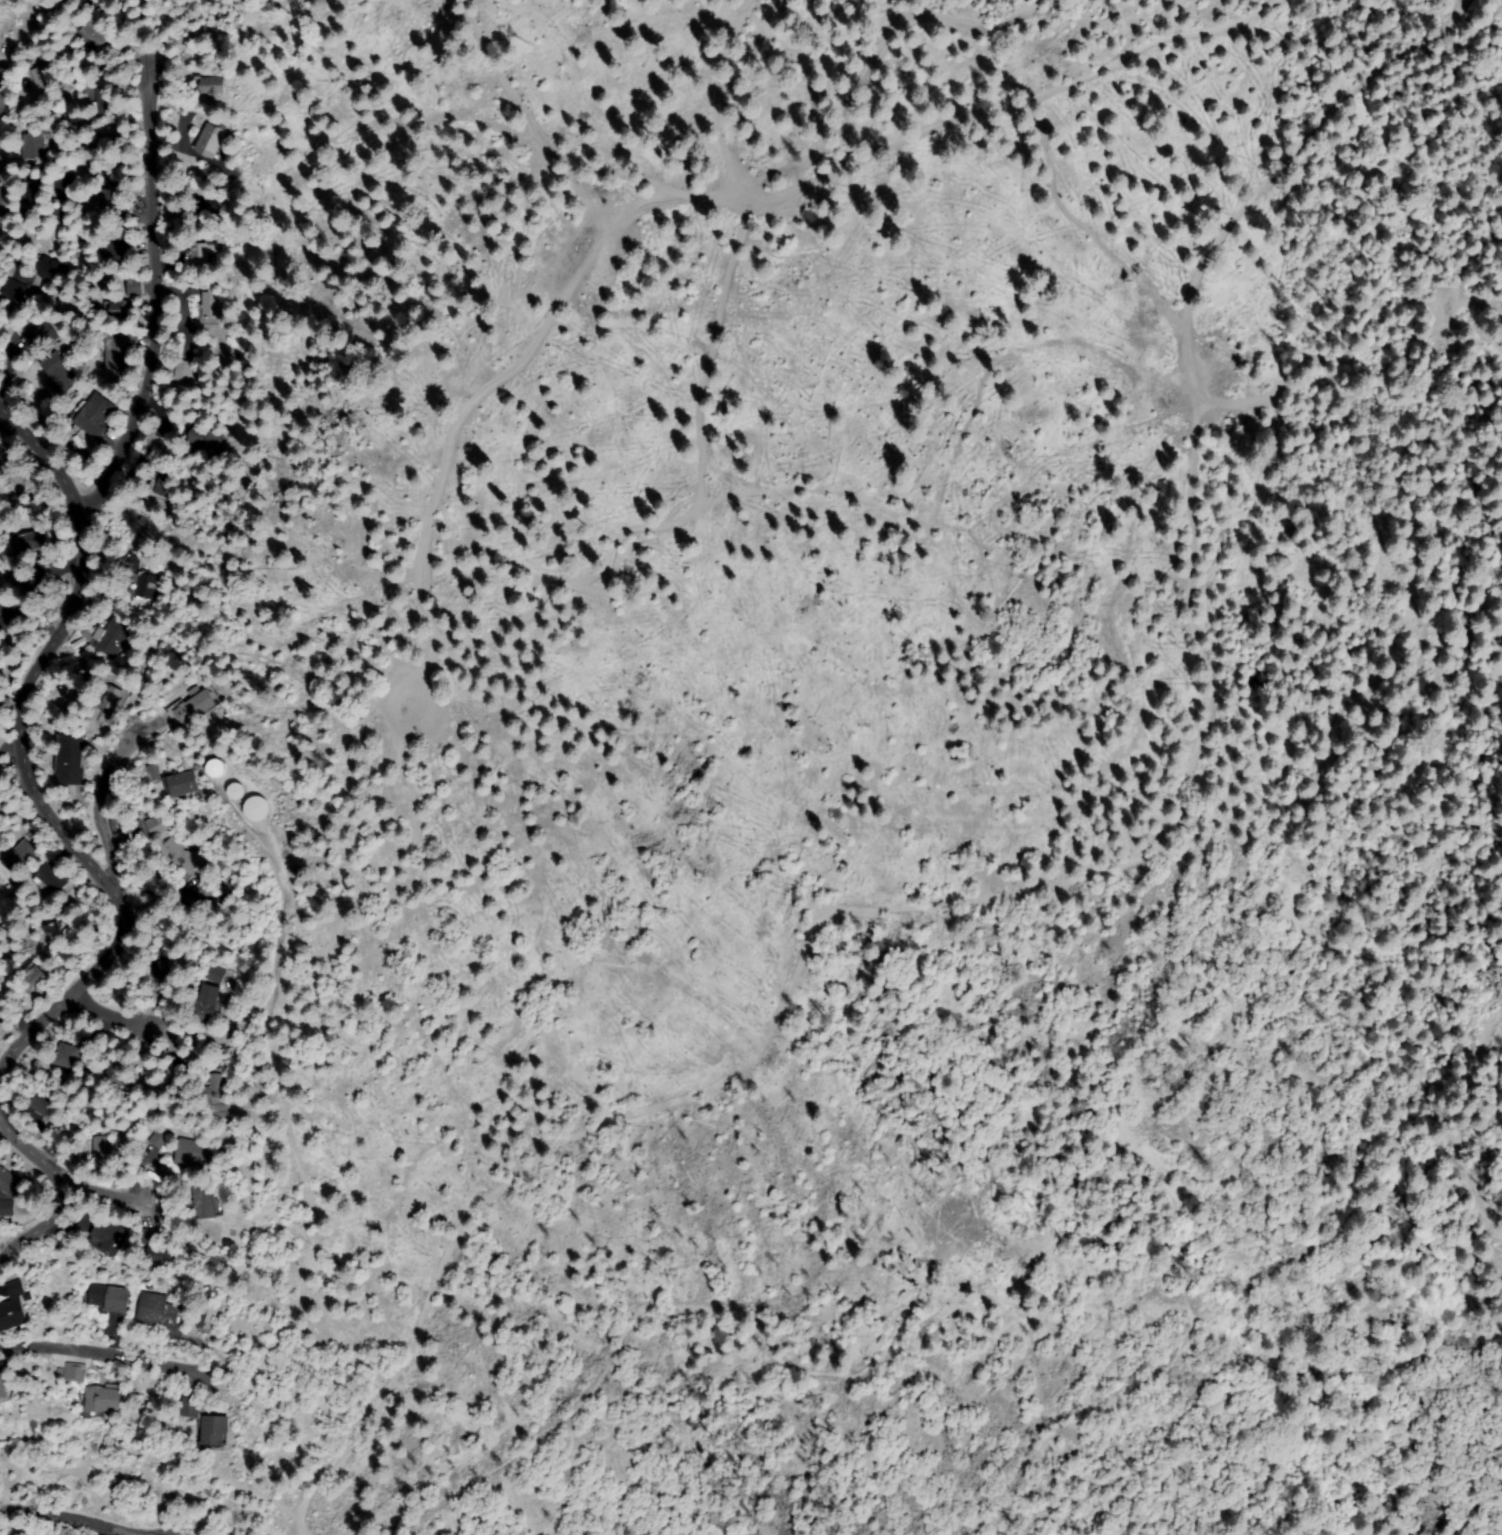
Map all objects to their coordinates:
building: (93, 34)
road: (887, 40)
building: (45, 79)
building: (208, 86)
building: (103, 101)
building: (109, 133)
building: (213, 140)
building: (31, 146)
road: (846, 171)
building: (61, 182)
building: (34, 189)
building: (113, 195)
building: (201, 207)
building: (114, 252)
building: (197, 255)
building: (47, 268)
building: (129, 285)
road: (1187, 303)
building: (207, 304)
road: (152, 308)
building: (120, 309)
building: (37, 339)
building: (117, 347)
building: (59, 373)
building: (180, 373)
building: (90, 415)
building: (200, 438)
building: (2, 455)
building: (161, 483)
building: (26, 542)
building: (143, 589)
building: (11, 614)
building: (108, 635)
road: (481, 635)
building: (111, 697)
building: (186, 711)
road: (20, 755)
building: (72, 758)
building: (215, 767)
storage tank: (218, 768)
building: (151, 772)
road: (106, 783)
building: (183, 785)
building: (235, 790)
storage tank: (237, 791)
building: (1, 804)
building: (255, 807)
storage tank: (257, 809)
building: (160, 825)
building: (127, 836)
building: (22, 855)
building: (179, 856)
building: (51, 879)
building: (203, 887)
building: (167, 969)
building: (215, 973)
building: (31, 982)
road: (114, 1005)
building: (207, 1007)
building: (0, 1021)
building: (72, 1056)
building: (116, 1071)
building: (174, 1075)
road: (1493, 1075)
building: (217, 1098)
building: (43, 1101)
building: (150, 1145)
building: (112, 1147)
building: (194, 1152)
building: (9, 1182)
road: (52, 1184)
road: (85, 1189)
building: (204, 1201)
building: (5, 1206)
building: (109, 1236)
building: (150, 1237)
road: (1419, 1241)
building: (163, 1258)
building: (109, 1297)
building: (13, 1310)
building: (157, 1310)
building: (209, 1317)
road: (102, 1340)
building: (74, 1372)
building: (5, 1387)
building: (102, 1399)
building: (191, 1407)
building: (214, 1433)
road: (77, 1519)

